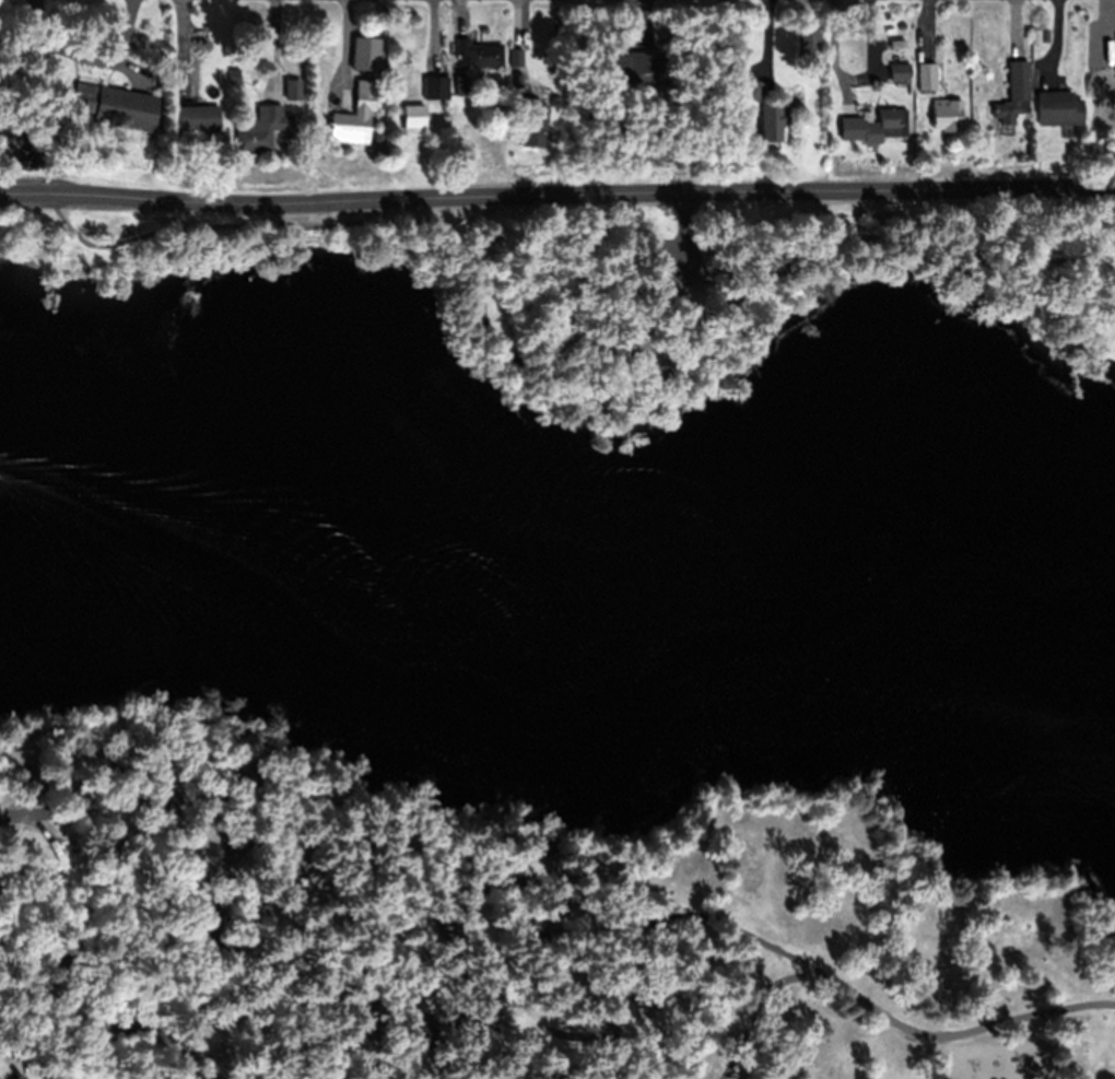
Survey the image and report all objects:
building: (891, 34)
building: (129, 40)
building: (897, 44)
building: (38, 47)
building: (810, 48)
building: (479, 54)
building: (366, 56)
building: (516, 57)
building: (639, 68)
building: (900, 71)
building: (234, 75)
building: (928, 75)
building: (49, 80)
building: (457, 84)
building: (438, 86)
building: (749, 87)
building: (1014, 93)
building: (85, 97)
building: (1103, 99)
building: (1058, 108)
building: (828, 110)
building: (947, 114)
building: (198, 116)
building: (355, 116)
building: (413, 117)
building: (286, 118)
building: (772, 119)
building: (533, 121)
building: (887, 125)
building: (259, 128)
road: (24, 192)
road: (582, 197)
road: (688, 241)
parking lot: (677, 259)
road: (545, 367)
river: (566, 511)
park: (559, 624)
road: (225, 834)
road: (282, 847)
road: (409, 851)
road: (502, 881)
road: (721, 925)
building: (191, 931)
road: (119, 984)
road: (887, 1019)
building: (544, 1028)
building: (14, 1059)

